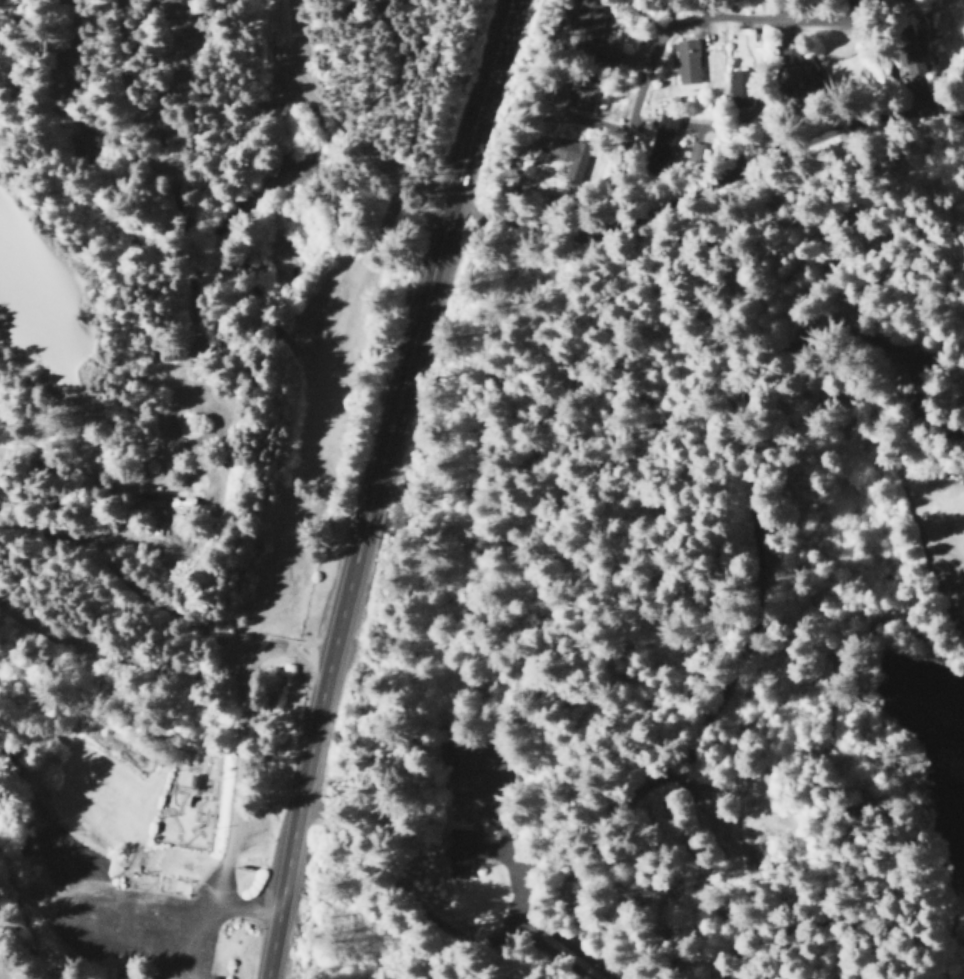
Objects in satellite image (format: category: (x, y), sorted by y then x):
building: (902, 2)
road: (666, 15)
building: (583, 26)
road: (669, 29)
building: (907, 59)
building: (685, 61)
building: (791, 63)
building: (737, 81)
building: (581, 94)
building: (661, 136)
building: (567, 157)
road: (711, 173)
road: (383, 488)
building: (452, 758)
building: (30, 841)
building: (459, 851)
road: (383, 896)
road: (206, 915)
building: (120, 975)

